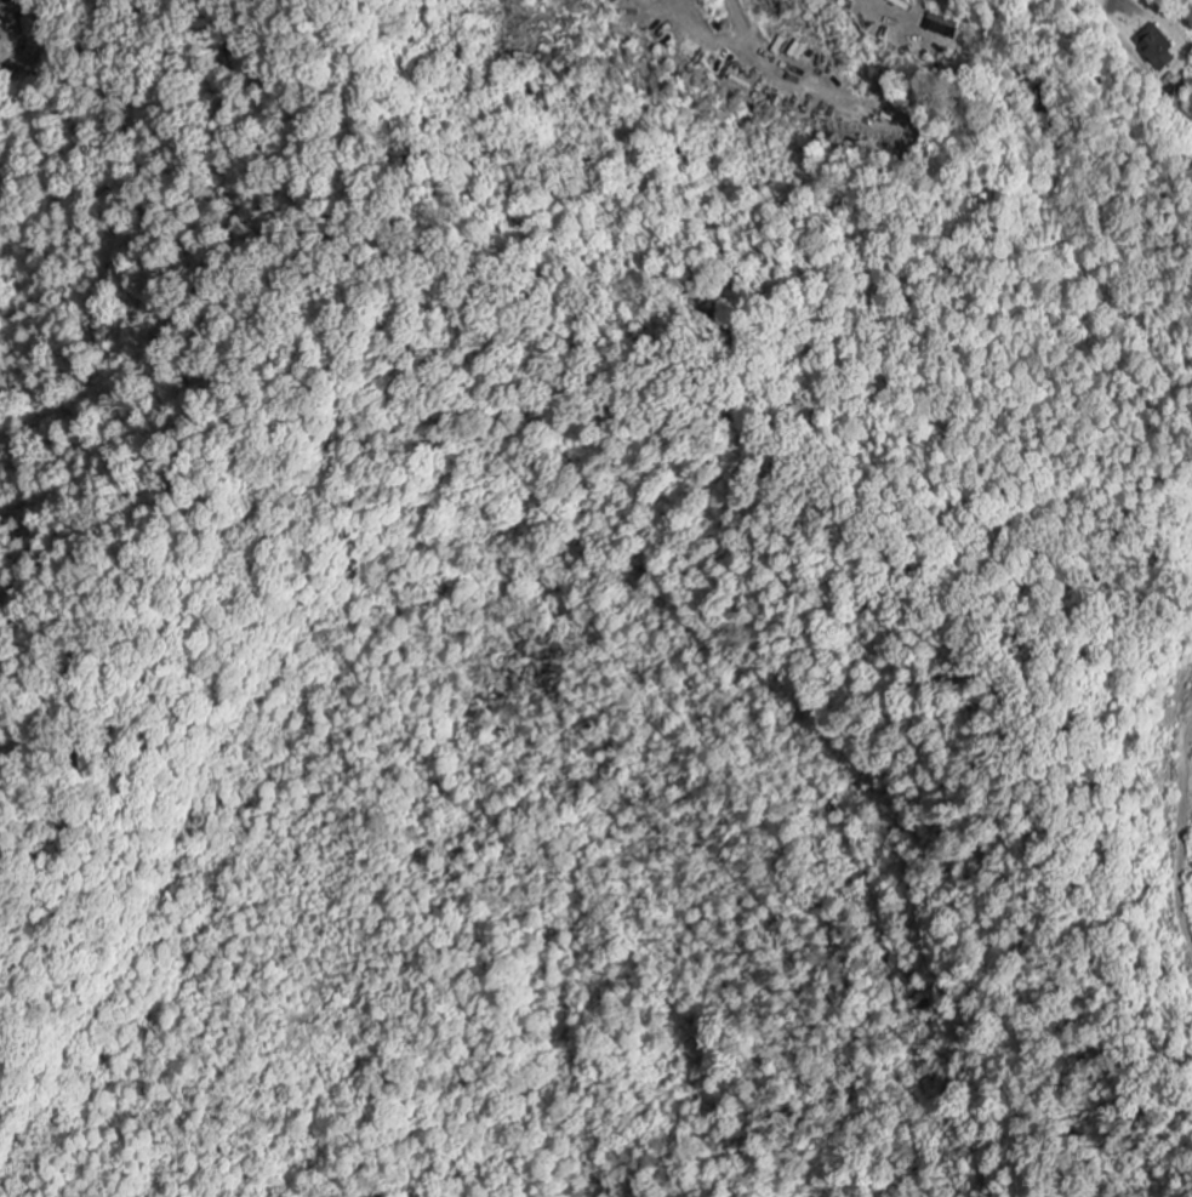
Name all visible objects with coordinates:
building: (945, 23)
building: (1159, 50)

